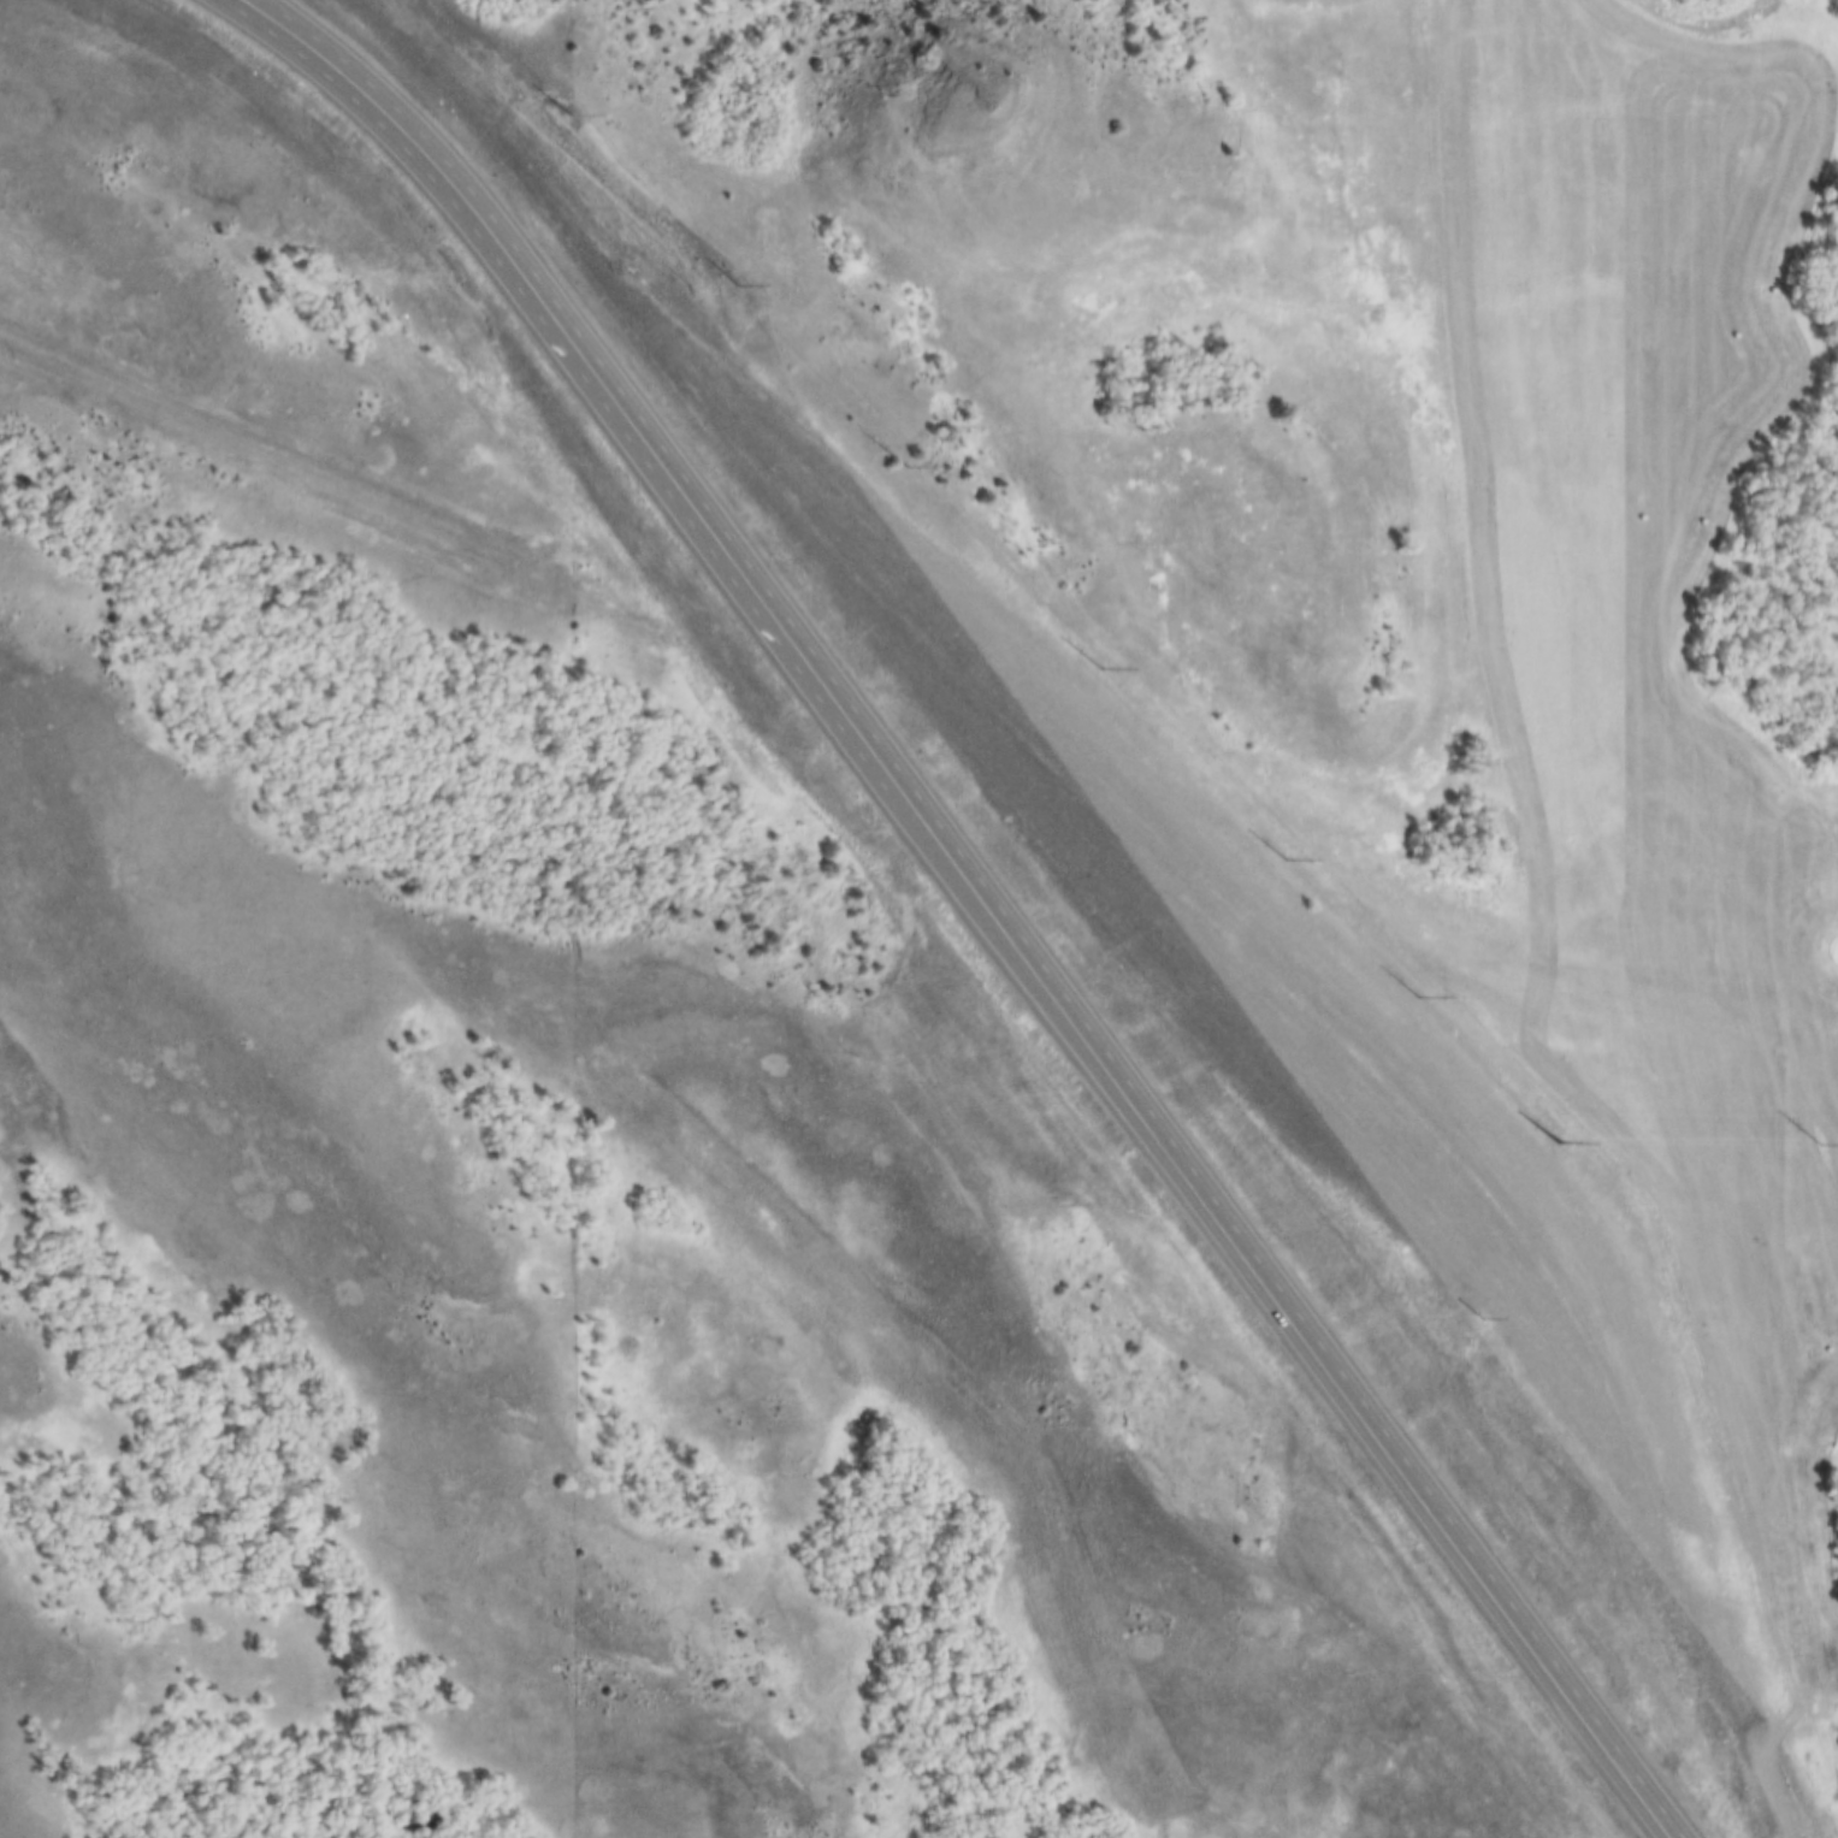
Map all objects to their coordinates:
road: (219, 433)
road: (987, 897)

